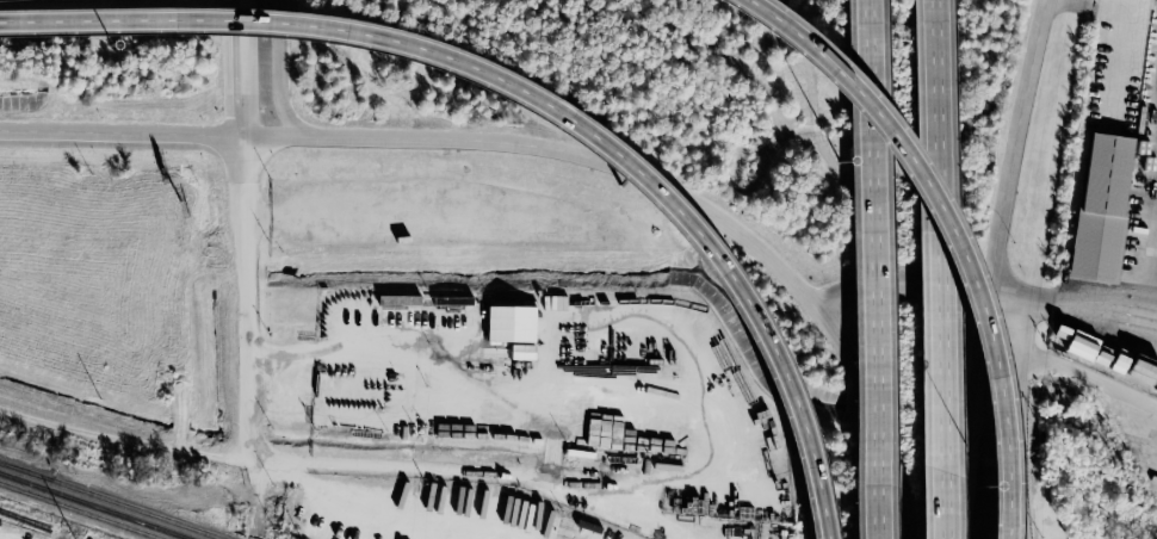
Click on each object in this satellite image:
road: (279, 72)
road: (536, 97)
road: (119, 130)
road: (555, 145)
road: (946, 204)
building: (1102, 207)
road: (395, 213)
road: (877, 243)
road: (946, 246)
road: (243, 265)
road: (992, 267)
road: (902, 283)
road: (1153, 292)
road: (1007, 296)
road: (1091, 303)
building: (511, 323)
building: (521, 351)
road: (1091, 373)
road: (880, 417)
road: (1021, 420)
road: (123, 432)
road: (410, 461)
railway: (24, 470)
railway: (111, 500)
railway: (94, 506)
railway: (79, 510)
road: (881, 513)
road: (1006, 513)
road: (952, 515)
building: (578, 528)
road: (11, 534)
building: (615, 535)

